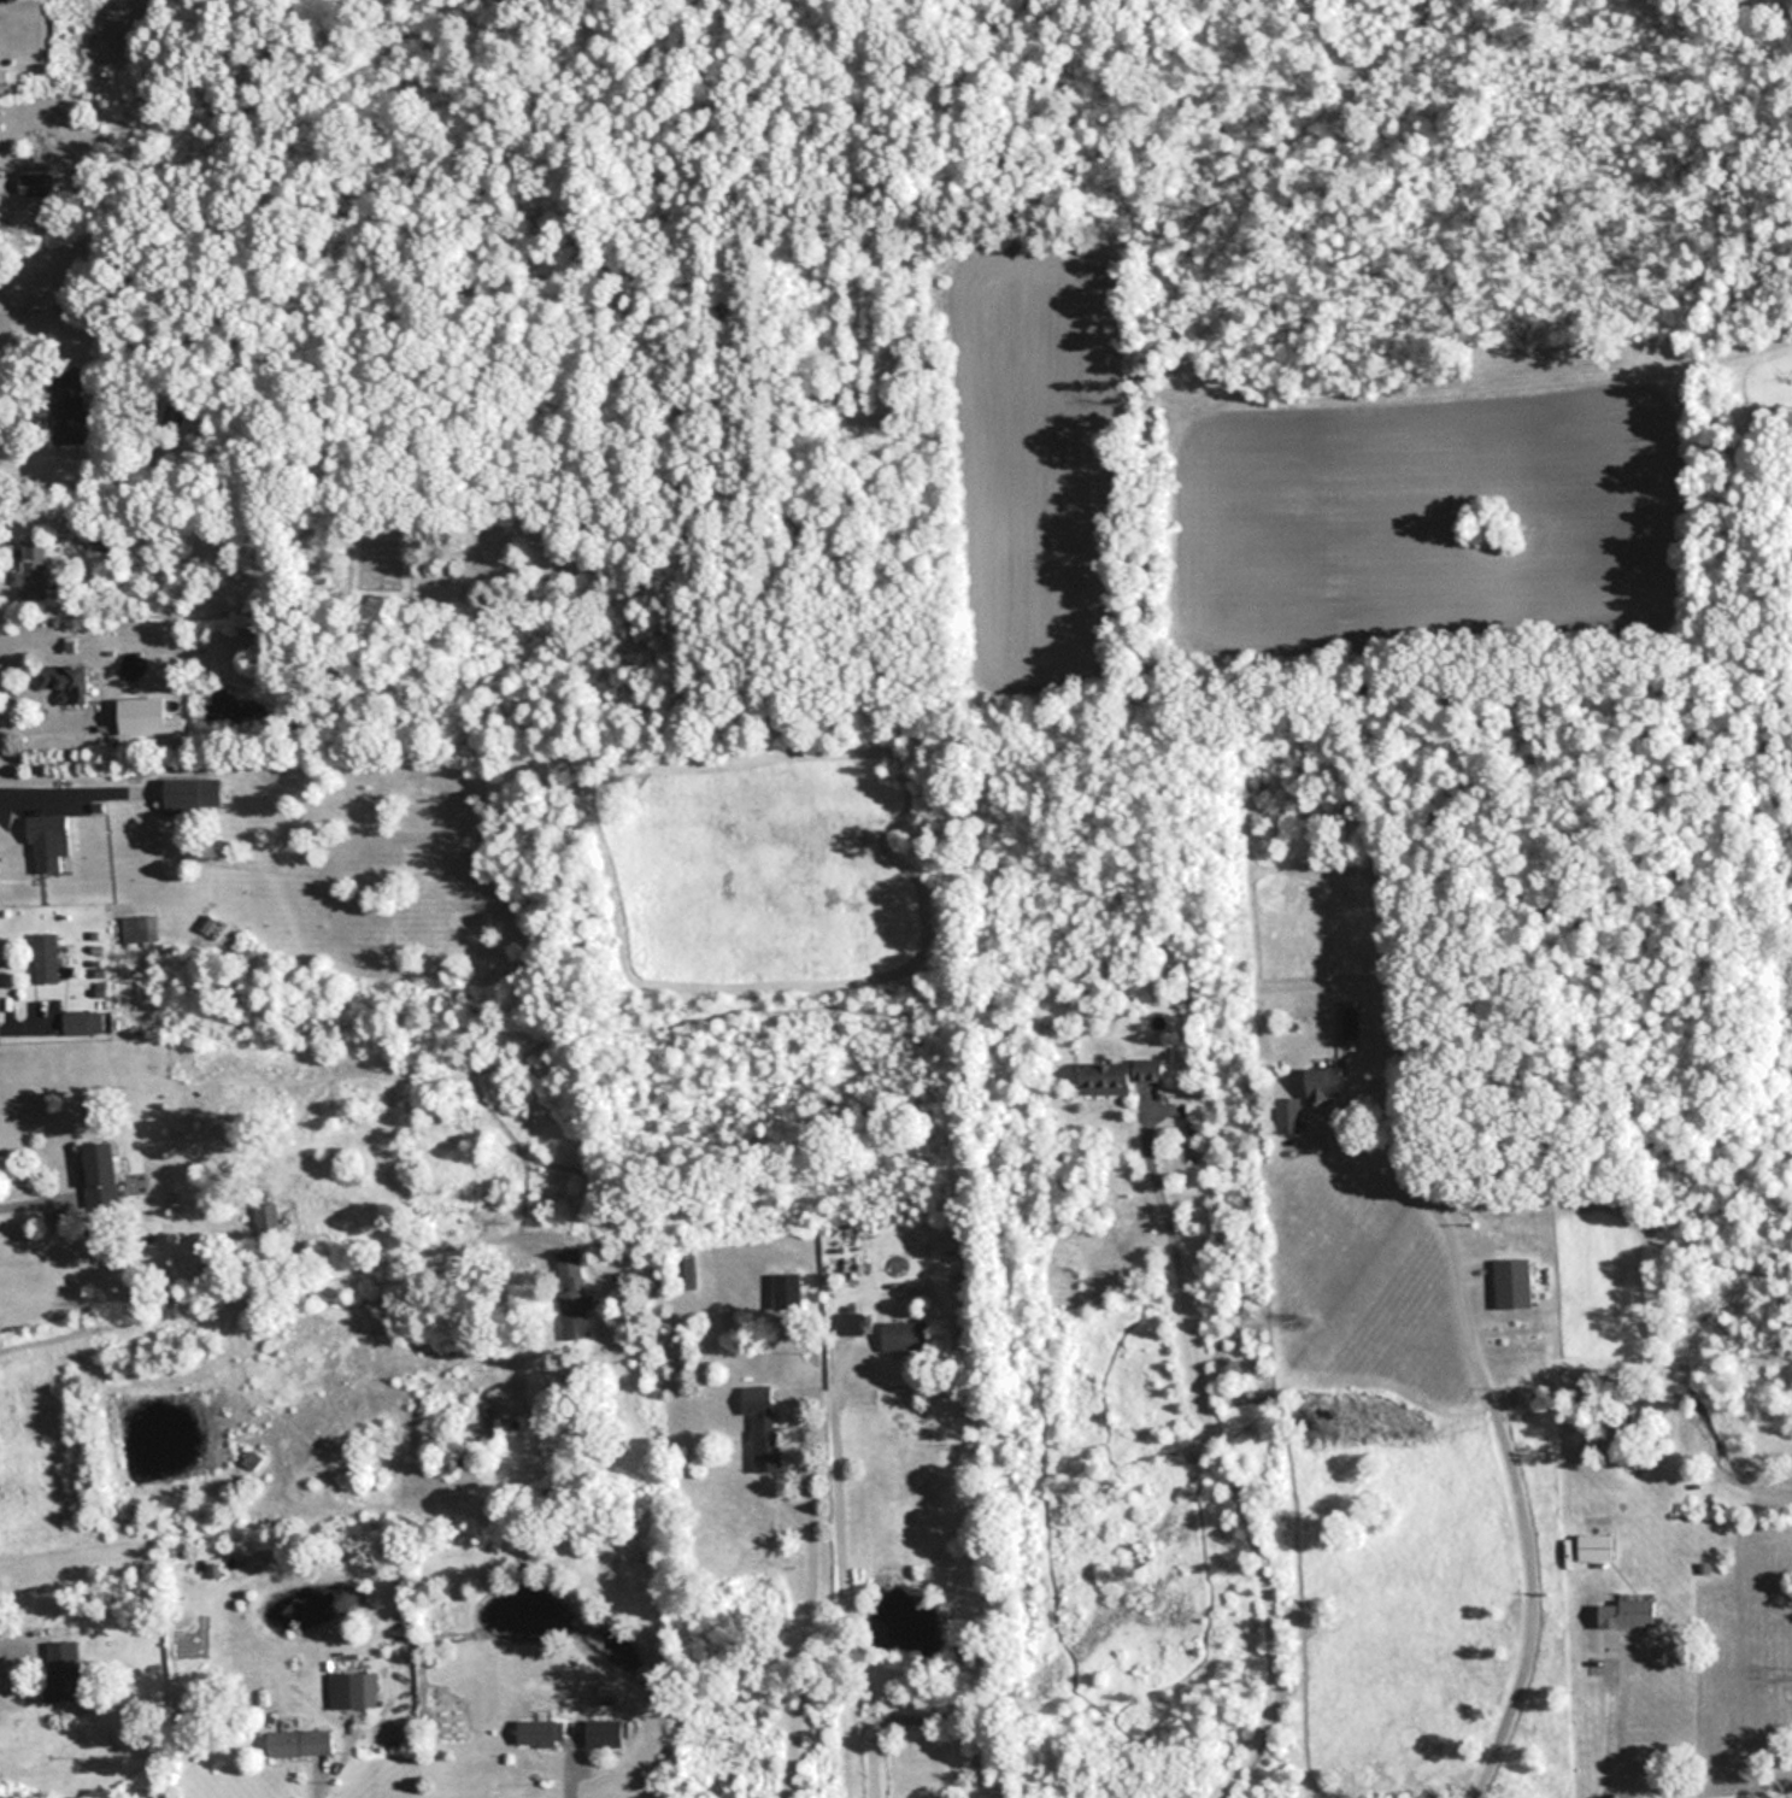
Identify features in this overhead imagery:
building: (37, 184)
building: (65, 415)
building: (33, 569)
building: (66, 682)
road: (27, 705)
road: (75, 775)
building: (183, 795)
building: (48, 842)
building: (45, 958)
road: (29, 1010)
building: (82, 1023)
building: (1118, 1075)
building: (1326, 1086)
building: (1289, 1116)
building: (102, 1168)
building: (266, 1217)
building: (685, 1273)
road: (277, 1275)
building: (1512, 1283)
building: (789, 1291)
building: (574, 1294)
building: (854, 1324)
building: (904, 1336)
building: (540, 1385)
building: (763, 1426)
road: (1496, 1433)
road: (1217, 1458)
building: (251, 1461)
building: (1596, 1547)
road: (844, 1565)
road: (810, 1591)
building: (1628, 1615)
building: (63, 1671)
building: (346, 1692)
road: (1602, 1718)
building: (541, 1733)
building: (604, 1733)
building: (301, 1744)
road: (1779, 1797)

